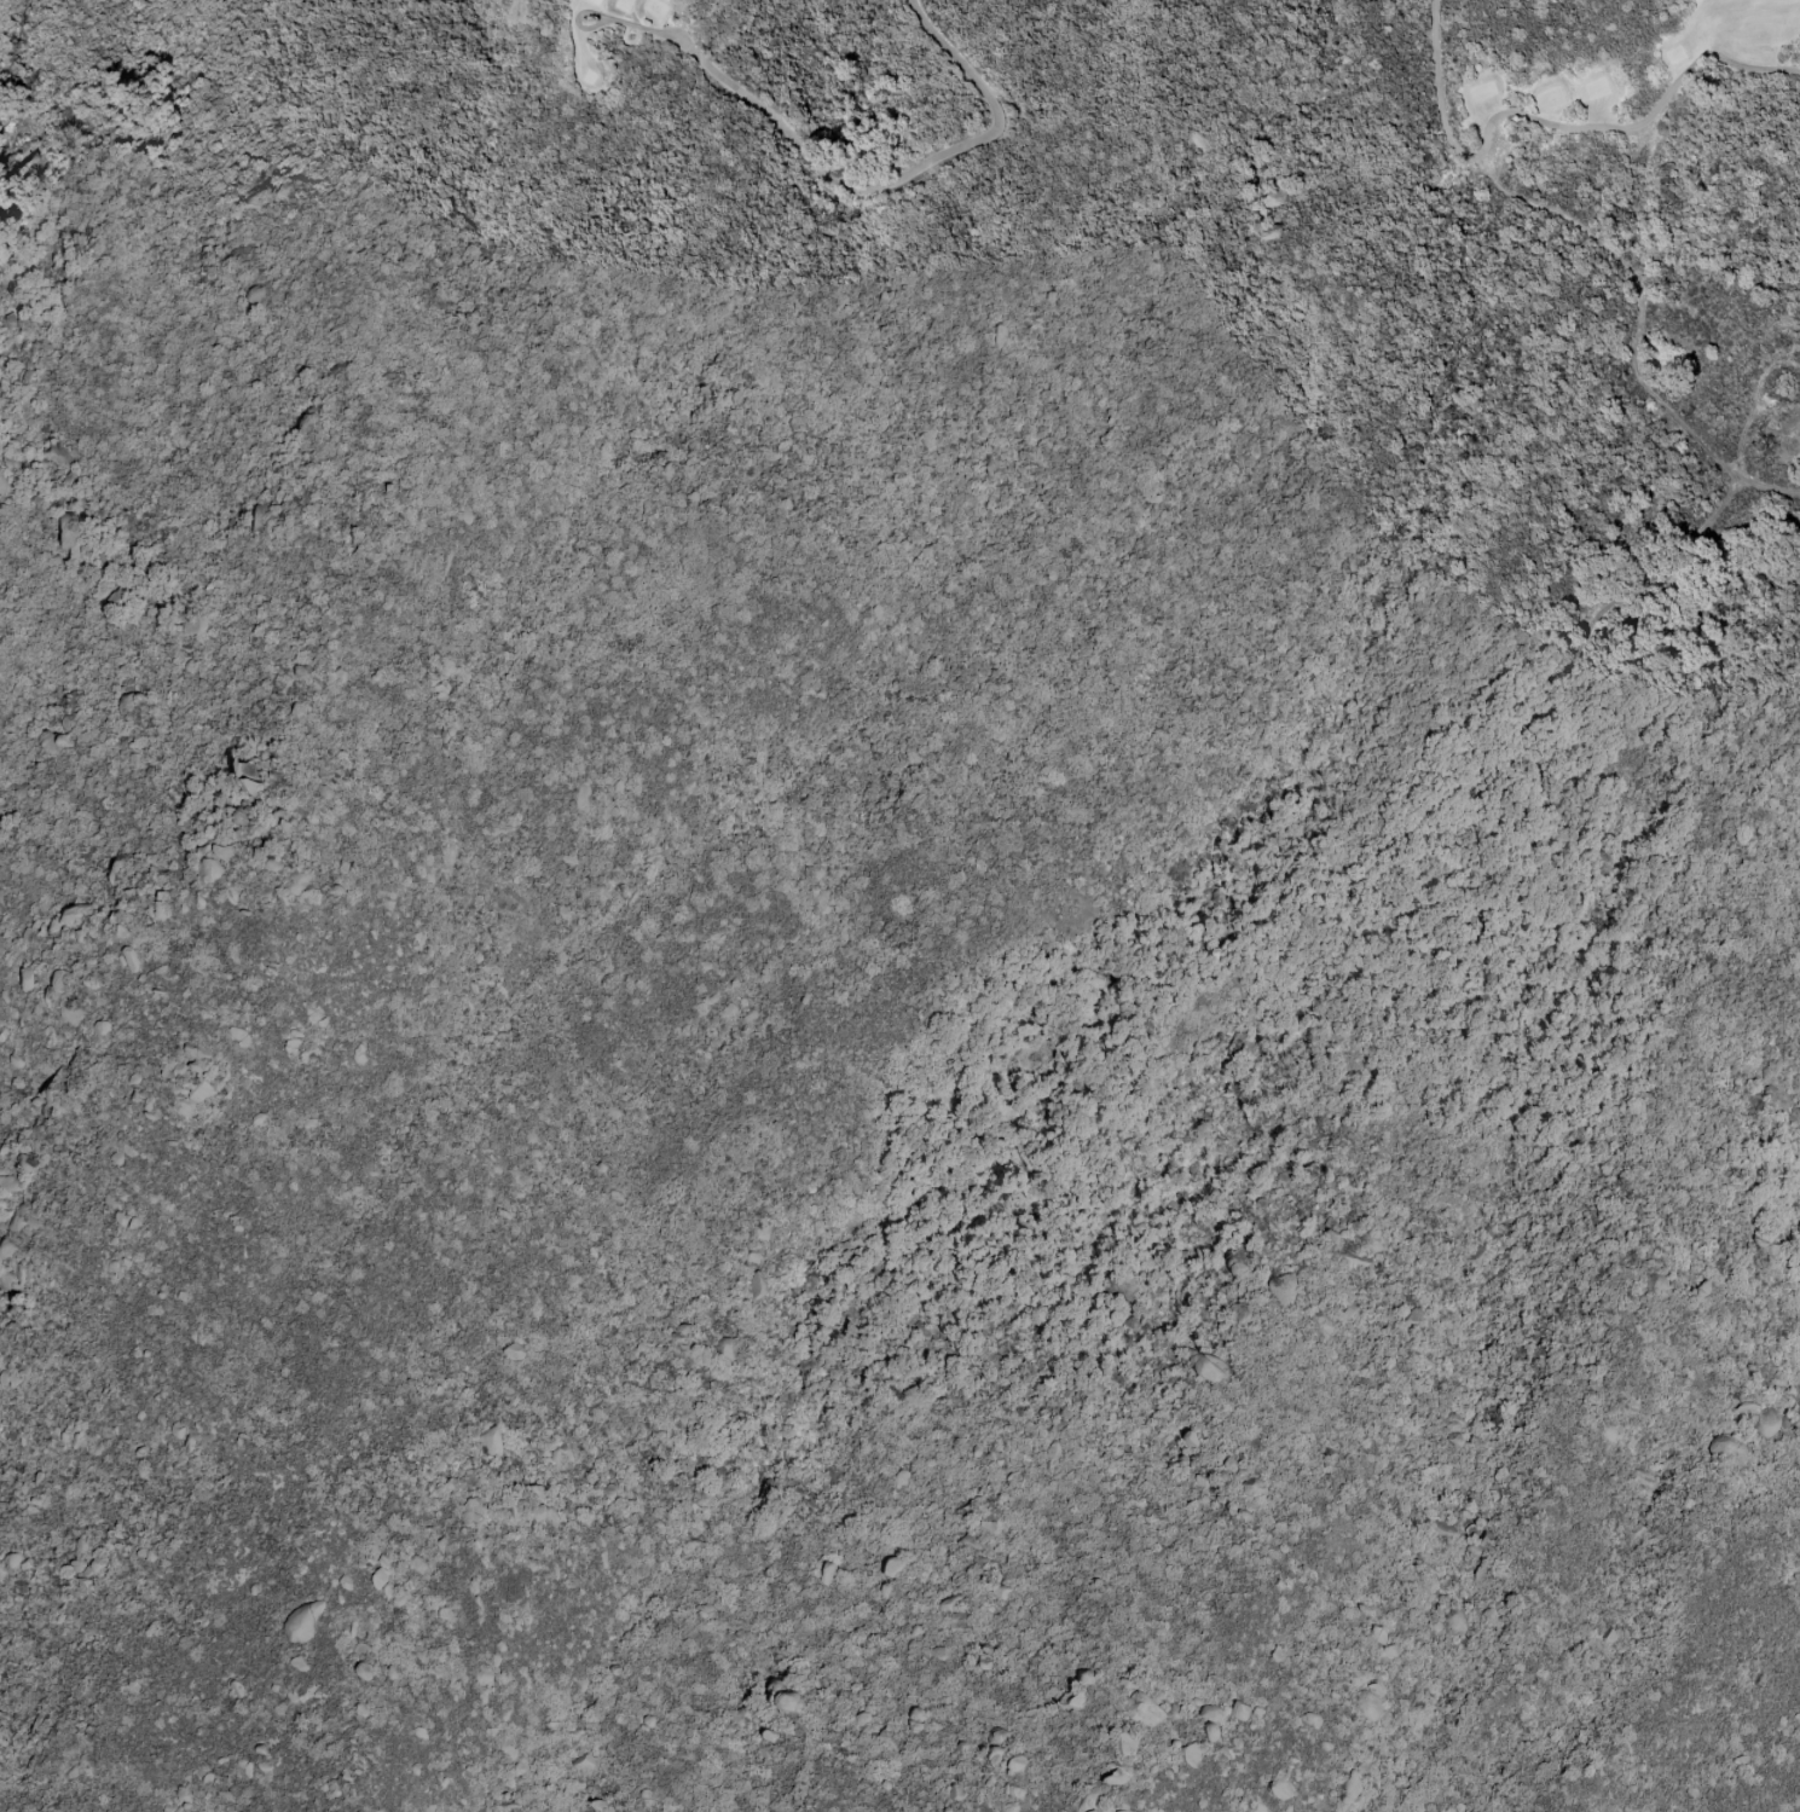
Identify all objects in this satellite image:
park: (671, 44)
park: (1675, 56)
park: (1596, 83)
road: (1552, 125)
road: (818, 168)
road: (1639, 331)

